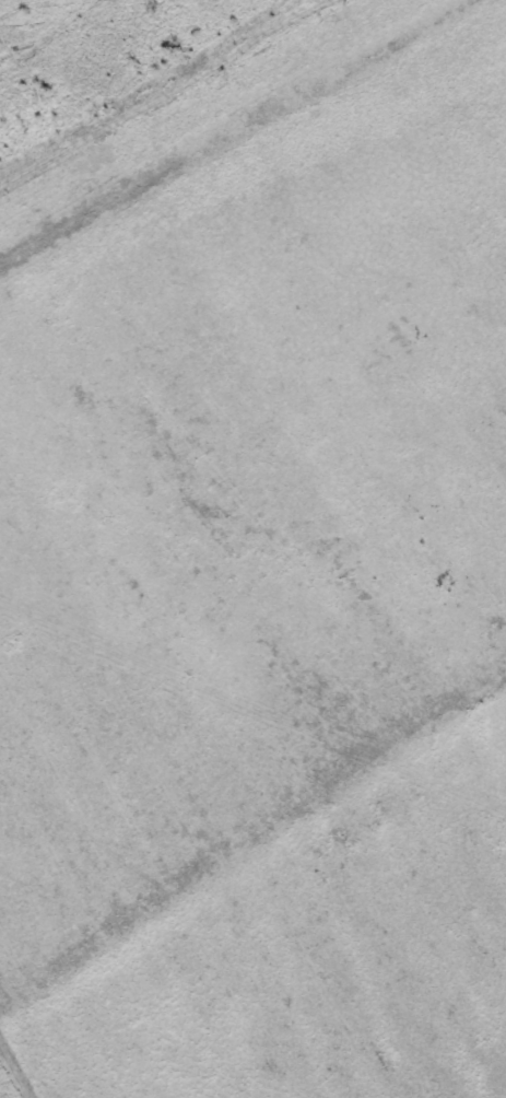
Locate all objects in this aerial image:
road: (12, 1075)

